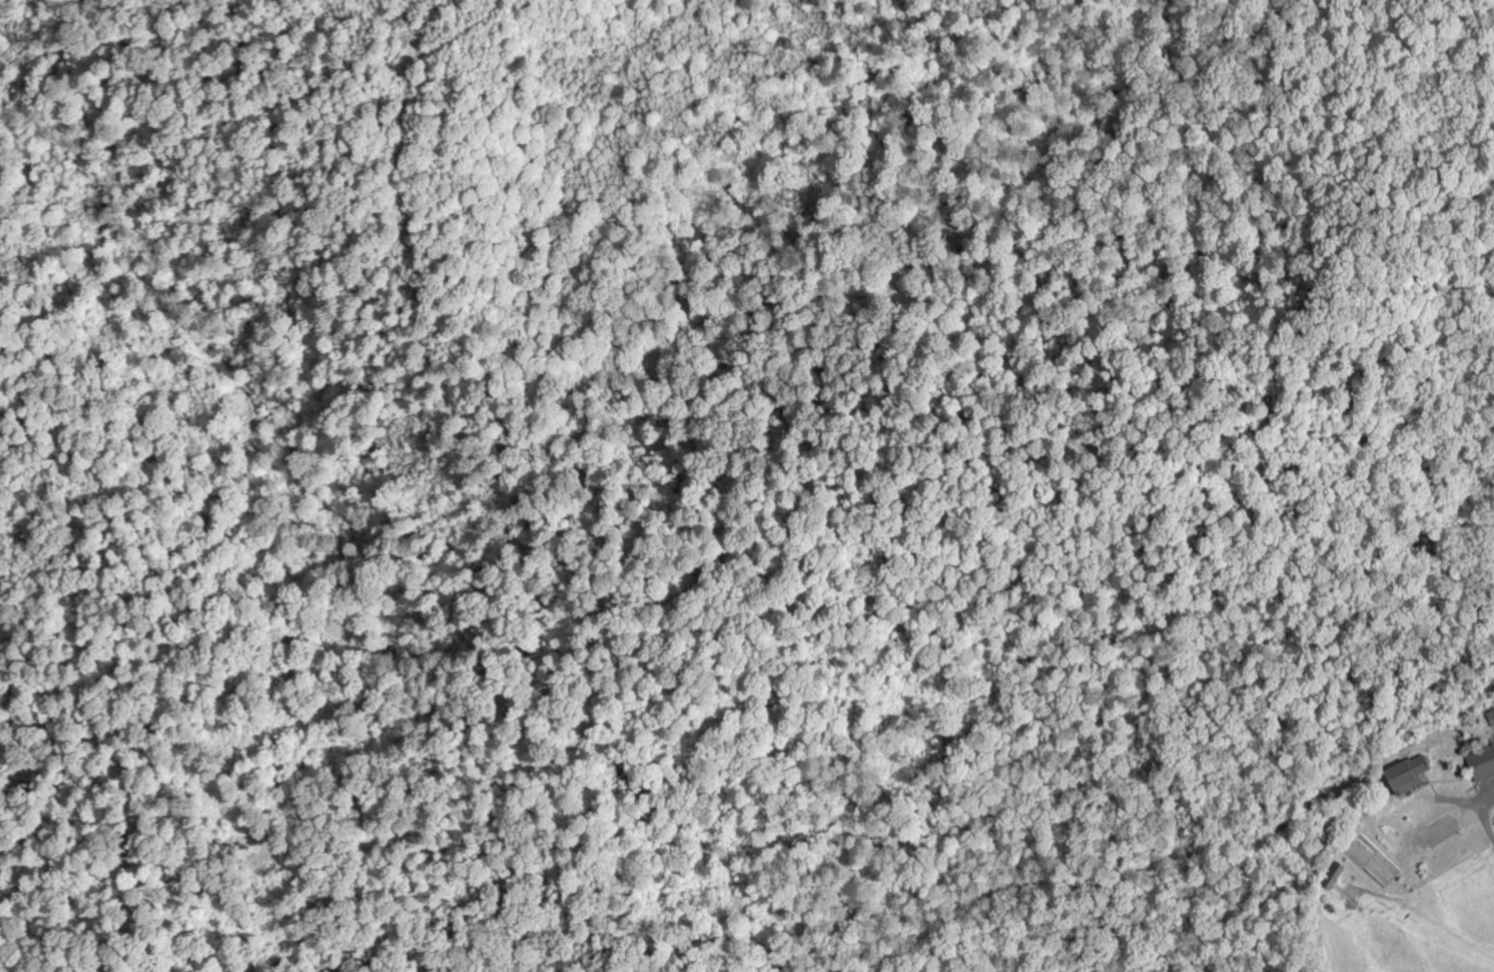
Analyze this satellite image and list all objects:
building: (1483, 764)
building: (1412, 774)
road: (1489, 828)
building: (1330, 880)

